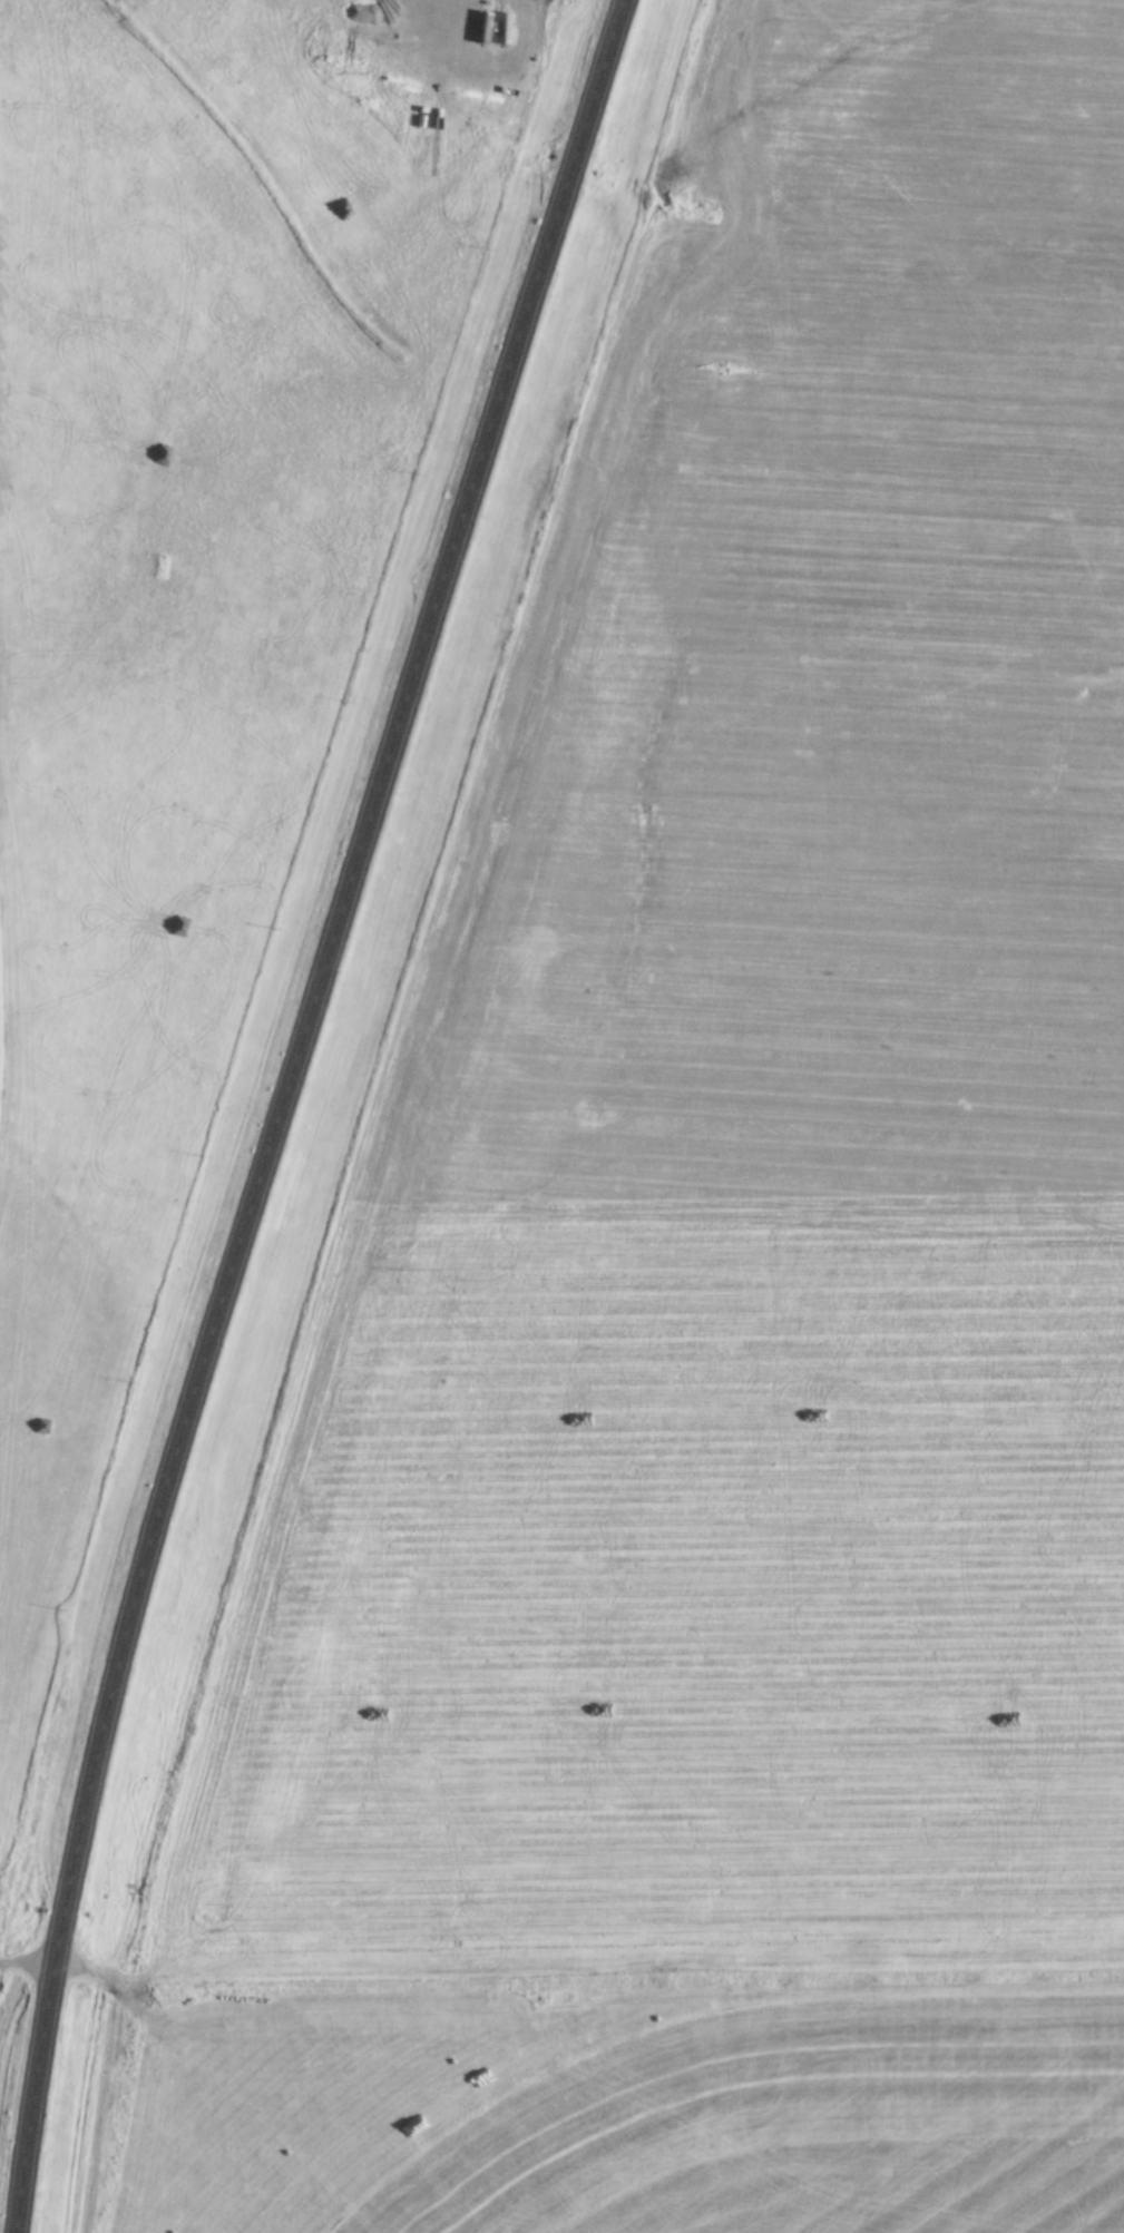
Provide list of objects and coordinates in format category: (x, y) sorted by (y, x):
building: (2, 386)
building: (66, 398)
building: (854, 900)
road: (284, 1107)
building: (883, 1204)
building: (994, 1319)
building: (812, 1663)

